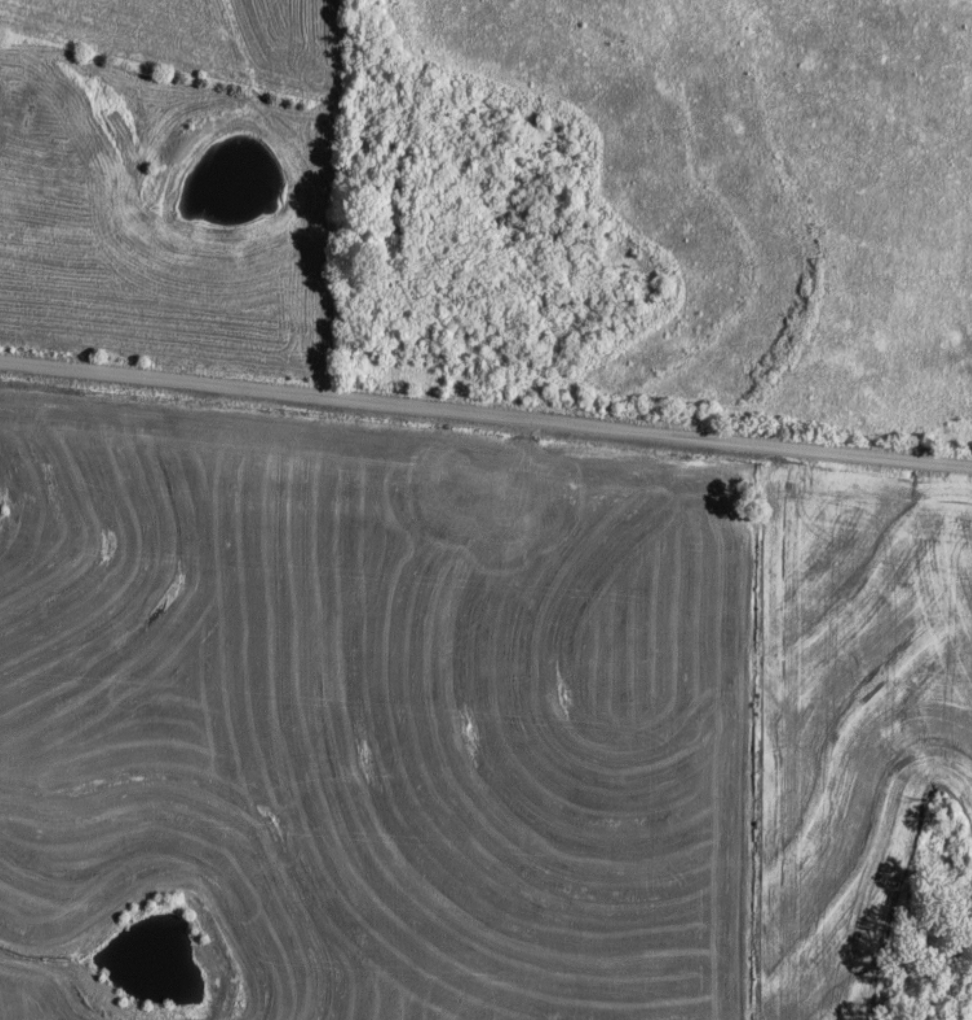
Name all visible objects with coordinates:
road: (485, 416)

